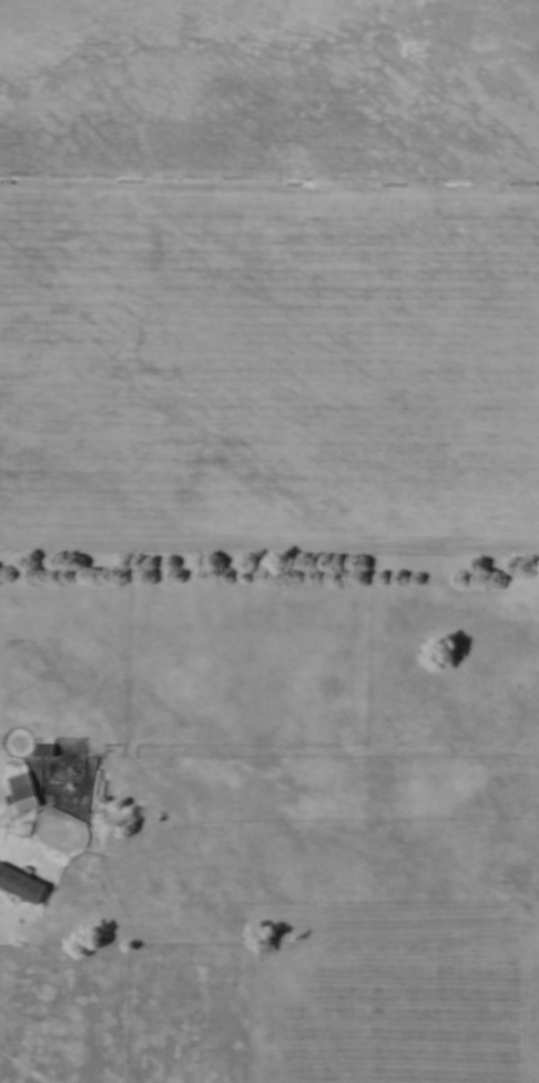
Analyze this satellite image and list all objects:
building: (44, 751)
building: (24, 793)
building: (22, 880)

